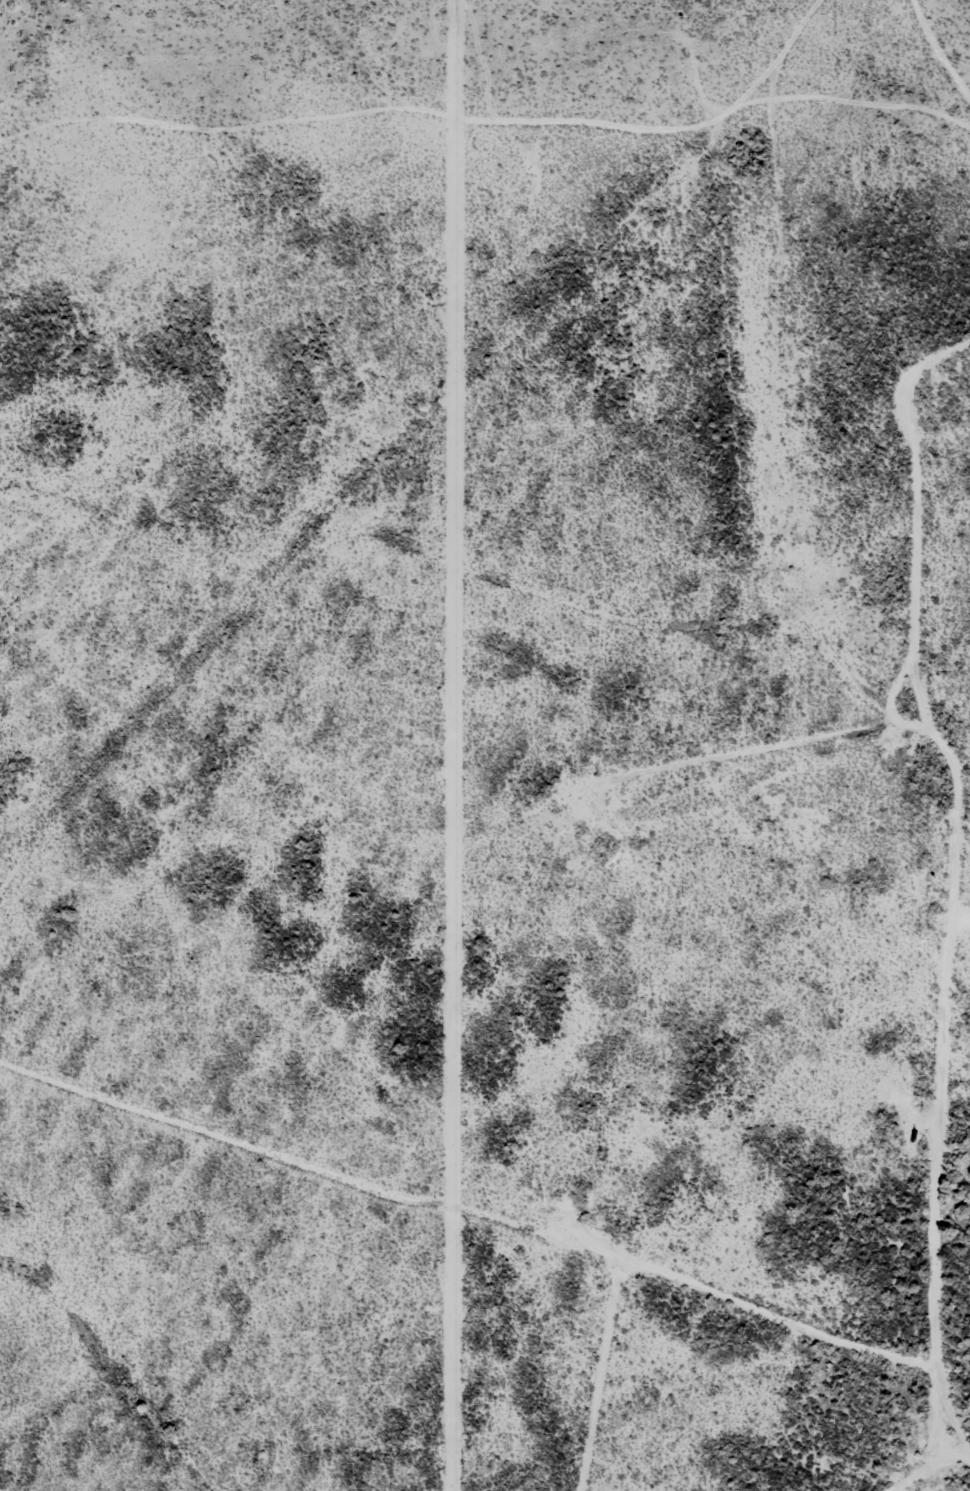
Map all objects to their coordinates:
road: (909, 86)
road: (403, 415)
road: (905, 879)

